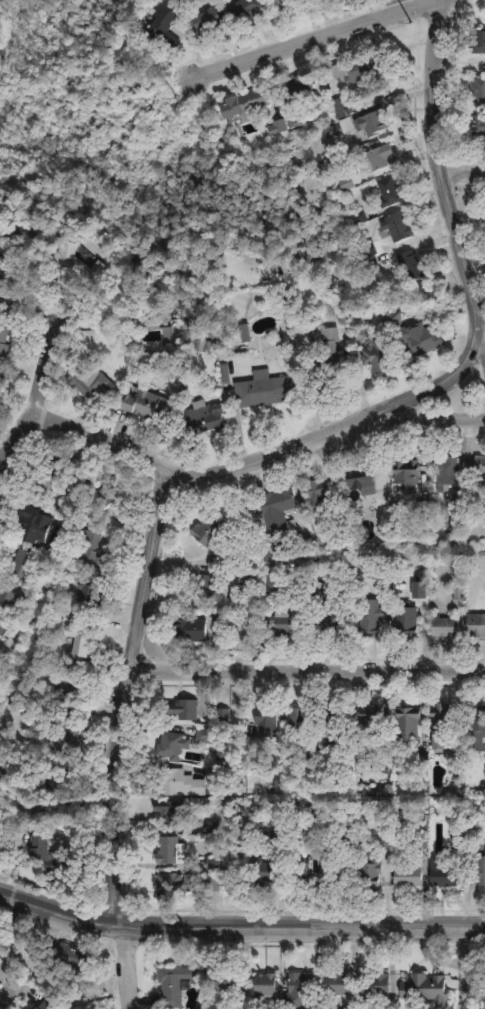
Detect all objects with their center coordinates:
building: (285, 2)
building: (247, 8)
power tower: (415, 17)
building: (211, 18)
building: (165, 26)
road: (299, 38)
building: (477, 40)
building: (367, 68)
building: (301, 88)
building: (478, 90)
power tower: (176, 96)
building: (248, 101)
building: (340, 111)
building: (478, 126)
building: (373, 129)
building: (277, 135)
building: (338, 135)
building: (379, 165)
road: (464, 167)
road: (443, 170)
building: (390, 199)
building: (397, 233)
building: (70, 258)
building: (369, 267)
building: (413, 276)
building: (7, 280)
building: (337, 310)
building: (178, 329)
building: (246, 332)
building: (418, 345)
building: (5, 353)
building: (379, 356)
building: (330, 362)
road: (35, 379)
building: (265, 380)
building: (92, 382)
road: (422, 388)
building: (155, 407)
building: (204, 409)
road: (107, 433)
building: (479, 468)
building: (448, 470)
building: (408, 473)
building: (50, 474)
building: (363, 480)
building: (102, 492)
building: (321, 493)
building: (280, 511)
building: (385, 516)
building: (456, 521)
building: (345, 522)
building: (35, 523)
building: (210, 532)
building: (286, 545)
building: (93, 551)
building: (26, 566)
building: (251, 578)
building: (199, 584)
road: (145, 585)
building: (212, 587)
building: (388, 587)
building: (10, 594)
building: (91, 596)
building: (318, 597)
building: (284, 614)
building: (371, 618)
building: (407, 620)
building: (333, 622)
building: (476, 624)
building: (447, 625)
building: (3, 626)
building: (192, 629)
building: (82, 641)
road: (301, 677)
building: (6, 680)
building: (70, 686)
building: (186, 709)
building: (301, 720)
building: (334, 720)
building: (268, 721)
building: (371, 721)
building: (409, 725)
building: (443, 725)
building: (477, 729)
building: (69, 734)
building: (206, 735)
building: (329, 736)
building: (173, 745)
building: (458, 760)
building: (6, 767)
building: (186, 782)
building: (53, 783)
building: (173, 810)
building: (311, 827)
building: (211, 828)
building: (386, 831)
building: (351, 837)
building: (424, 837)
building: (460, 839)
building: (477, 843)
building: (171, 850)
building: (212, 863)
building: (59, 864)
building: (333, 867)
building: (264, 871)
building: (300, 871)
building: (482, 871)
building: (373, 872)
building: (445, 873)
building: (410, 876)
building: (175, 883)
road: (240, 921)
road: (13, 932)
road: (465, 951)
building: (70, 955)
building: (230, 982)
building: (338, 983)
building: (302, 984)
building: (375, 986)
building: (182, 987)
building: (416, 988)
building: (266, 989)
road: (460, 994)
building: (38, 1007)

